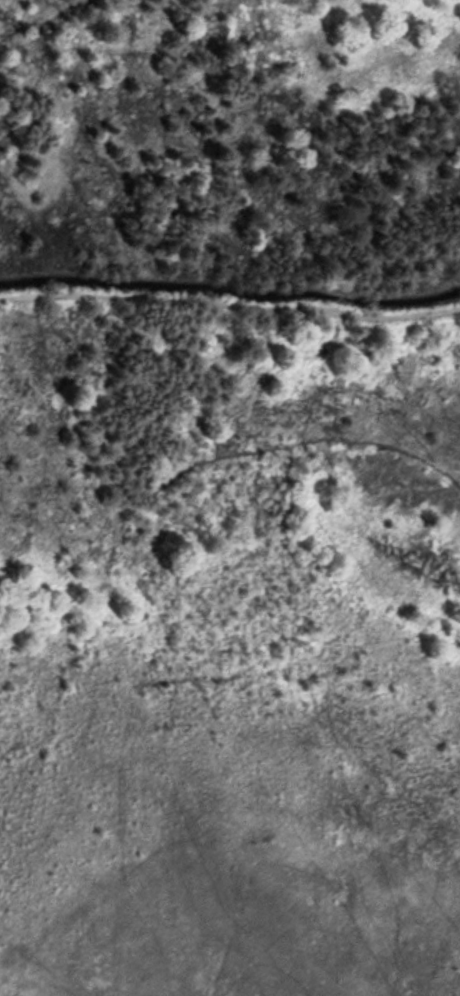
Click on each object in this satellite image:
road: (230, 314)

